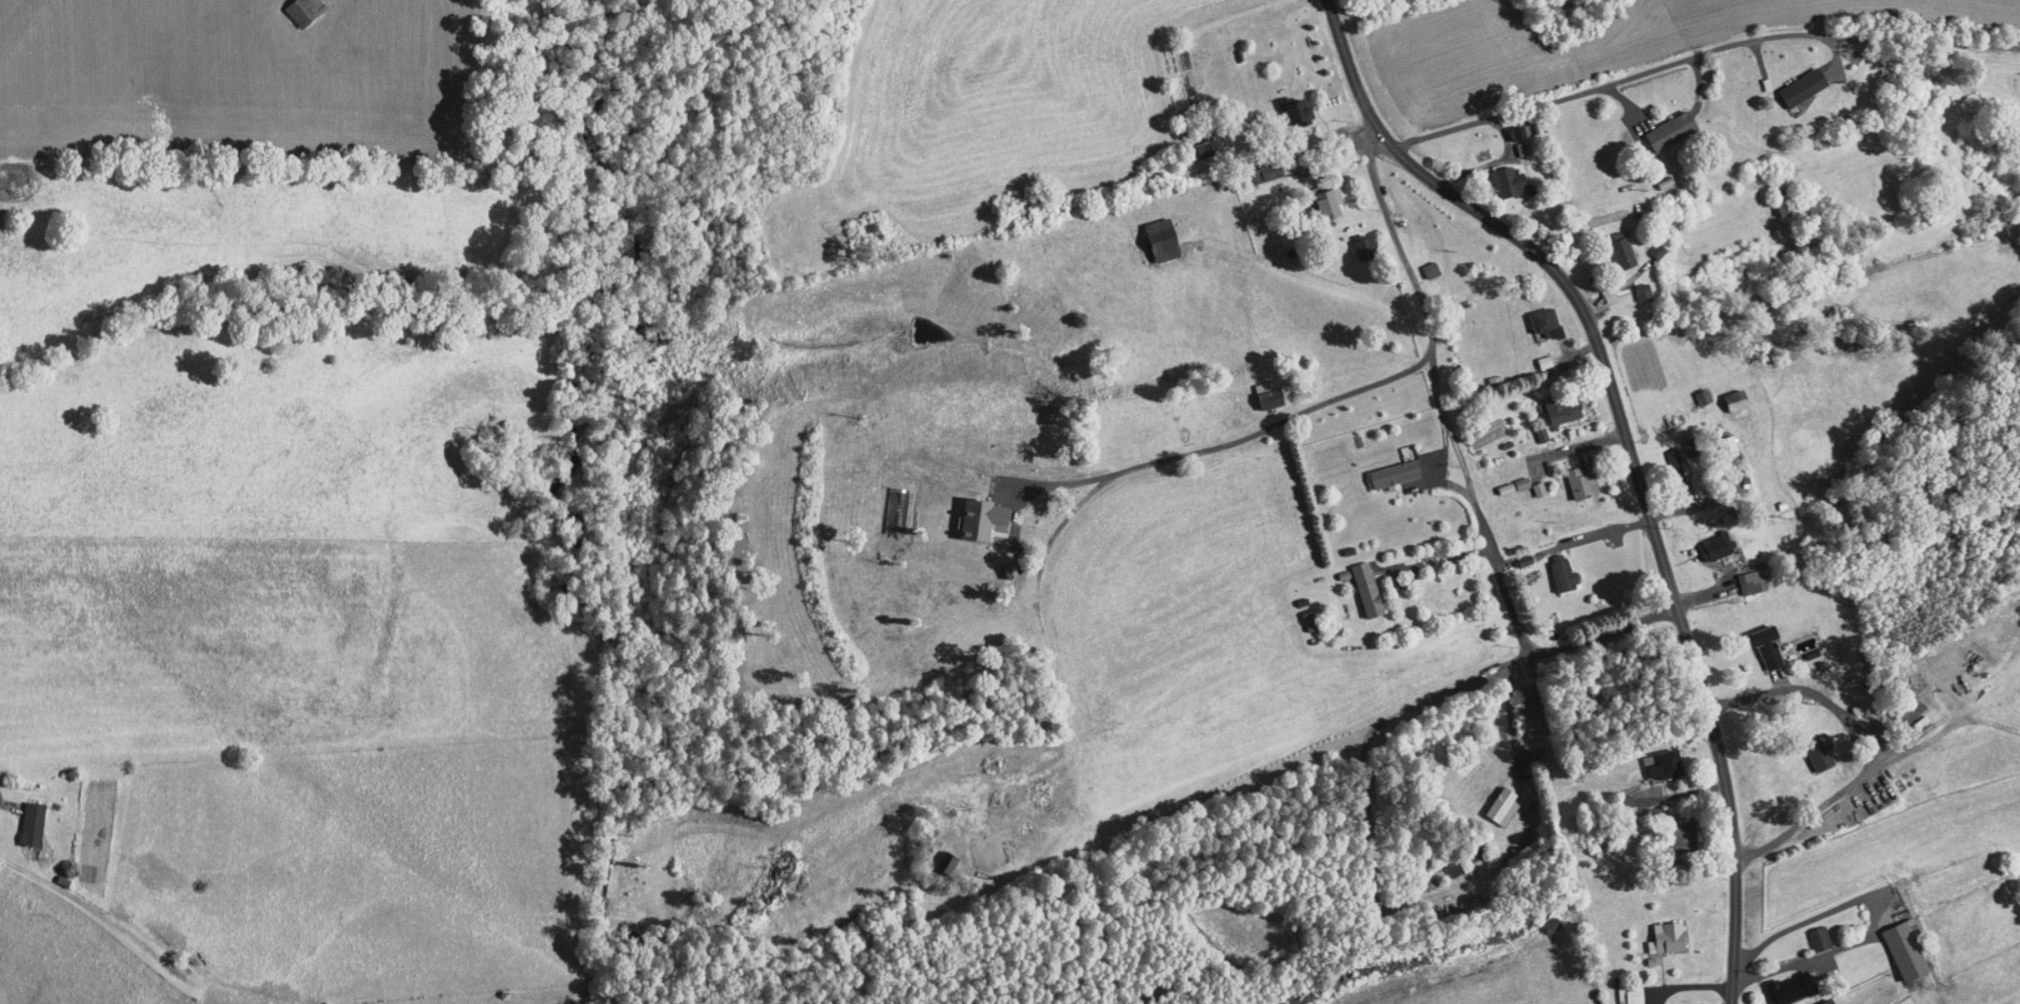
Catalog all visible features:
building: (295, 7)
road: (1692, 55)
building: (1789, 83)
building: (1287, 105)
building: (1663, 123)
building: (1510, 126)
building: (1514, 141)
building: (1197, 142)
building: (1500, 175)
building: (1322, 195)
road: (1371, 201)
building: (1155, 232)
building: (1355, 242)
building: (1647, 243)
building: (1422, 262)
building: (1633, 285)
building: (1601, 288)
building: (1536, 315)
building: (1260, 387)
building: (1692, 390)
building: (1728, 393)
building: (1554, 403)
road: (1432, 404)
road: (1254, 421)
road: (1432, 449)
road: (1632, 449)
building: (1671, 449)
building: (1385, 468)
building: (1573, 476)
building: (973, 511)
road: (1602, 522)
building: (1708, 540)
road: (1485, 559)
building: (1553, 567)
building: (1740, 575)
building: (1358, 582)
building: (1759, 639)
road: (1526, 658)
road: (1855, 738)
building: (1813, 752)
building: (1653, 757)
building: (1493, 800)
road: (4, 804)
building: (24, 817)
building: (1674, 829)
building: (1449, 859)
building: (1658, 931)
building: (1808, 932)
building: (1897, 942)
building: (1781, 982)
building: (1816, 999)

